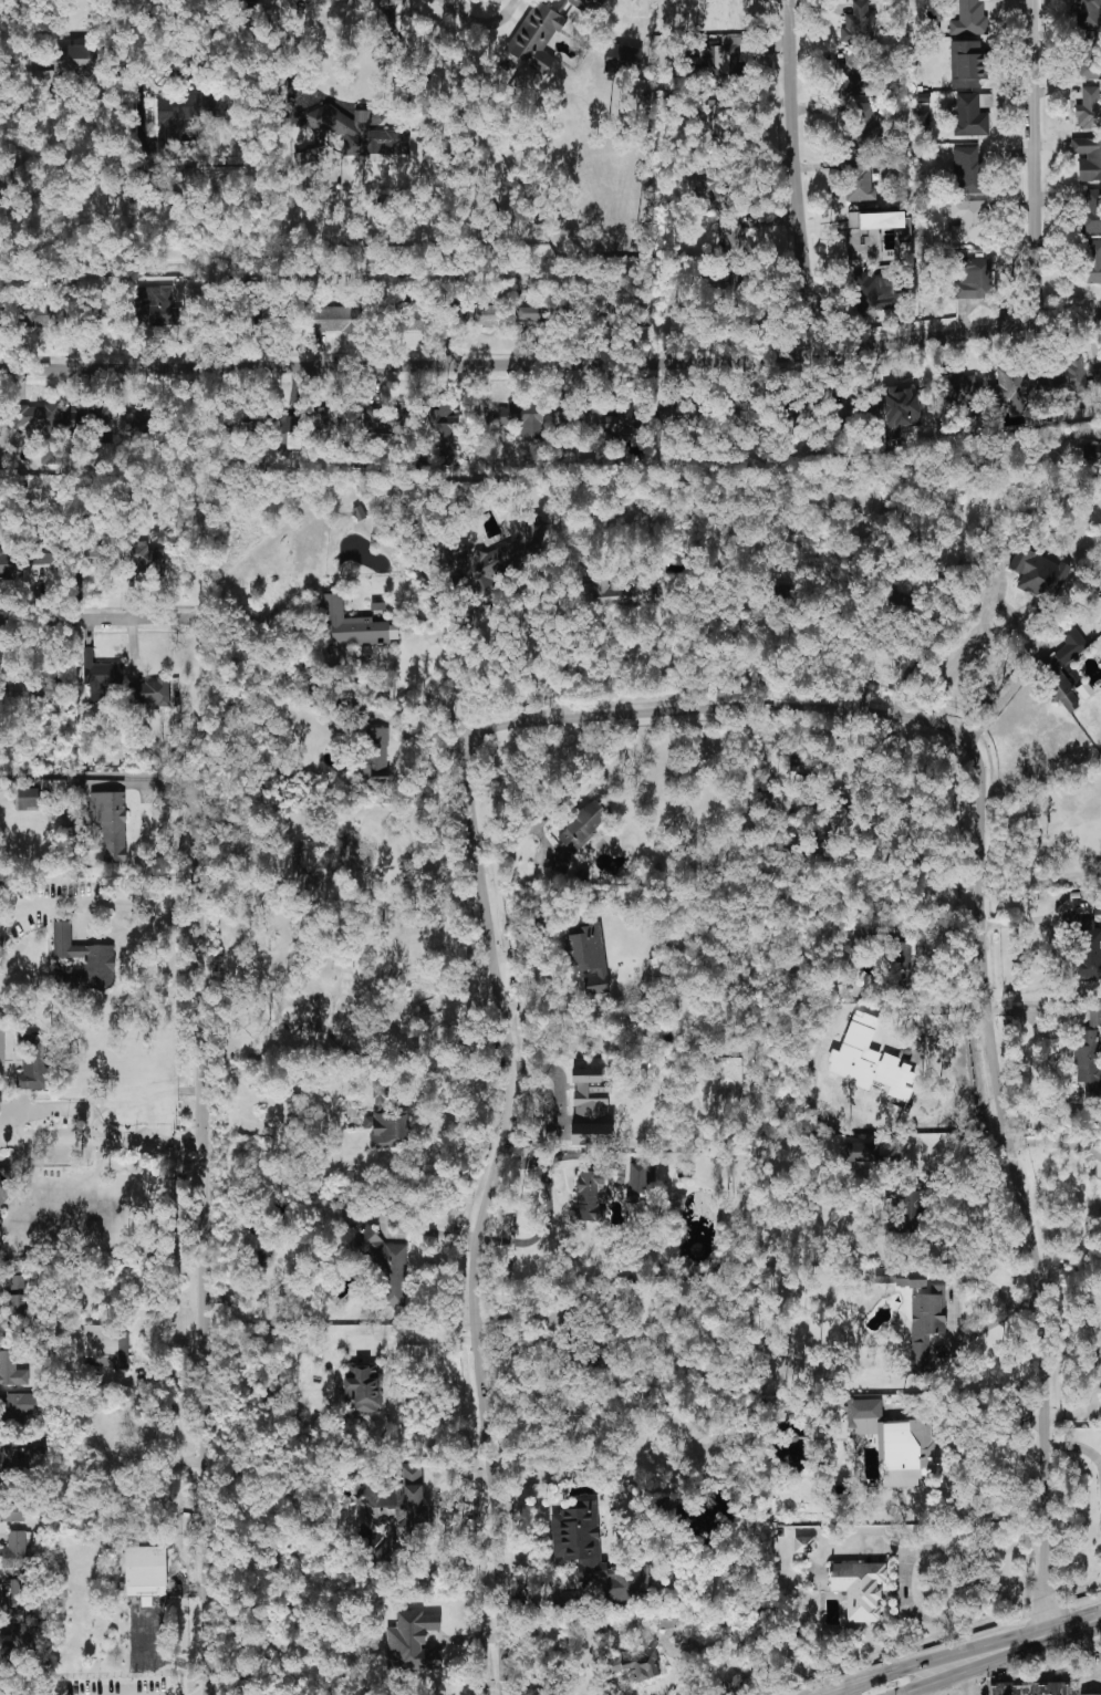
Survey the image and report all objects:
road: (363, 3)
building: (586, 4)
building: (715, 9)
building: (1088, 13)
road: (481, 19)
building: (969, 19)
building: (858, 24)
building: (536, 38)
building: (1090, 55)
building: (622, 59)
building: (77, 60)
building: (966, 64)
road: (420, 66)
building: (850, 73)
building: (1089, 110)
building: (973, 114)
building: (923, 123)
building: (866, 125)
building: (361, 134)
building: (309, 156)
building: (1088, 158)
road: (1036, 162)
building: (969, 171)
road: (798, 176)
building: (859, 180)
building: (713, 184)
building: (1091, 211)
building: (969, 220)
building: (876, 235)
building: (736, 239)
building: (1093, 261)
building: (972, 279)
building: (874, 292)
building: (93, 310)
building: (0, 311)
building: (160, 311)
building: (486, 313)
building: (532, 313)
building: (644, 313)
building: (39, 315)
building: (617, 315)
building: (420, 318)
building: (339, 319)
building: (274, 320)
road: (551, 363)
building: (1097, 375)
building: (1064, 376)
building: (1011, 387)
building: (962, 393)
building: (901, 406)
building: (678, 417)
building: (87, 418)
building: (523, 419)
building: (373, 420)
building: (398, 420)
building: (564, 420)
building: (590, 420)
building: (625, 420)
building: (134, 422)
building: (0, 424)
building: (330, 425)
building: (41, 428)
building: (442, 428)
building: (287, 431)
building: (1091, 453)
building: (50, 557)
building: (145, 559)
building: (10, 562)
building: (1039, 575)
building: (627, 594)
road: (96, 620)
building: (352, 624)
road: (957, 665)
building: (100, 674)
building: (1057, 674)
road: (354, 689)
building: (1084, 690)
building: (152, 694)
road: (1006, 695)
road: (695, 711)
building: (376, 755)
road: (98, 776)
road: (106, 784)
building: (29, 799)
building: (111, 824)
road: (527, 831)
building: (579, 834)
building: (1097, 907)
building: (1089, 950)
building: (84, 952)
building: (903, 956)
building: (586, 957)
building: (658, 968)
road: (116, 970)
building: (1094, 1018)
road: (911, 1036)
building: (870, 1061)
building: (34, 1063)
building: (1089, 1063)
road: (461, 1086)
building: (381, 1095)
building: (294, 1102)
building: (592, 1106)
road: (95, 1117)
road: (8, 1130)
building: (388, 1130)
building: (861, 1152)
road: (553, 1166)
building: (640, 1182)
building: (3, 1186)
building: (591, 1196)
building: (911, 1208)
road: (541, 1230)
building: (0, 1233)
road: (205, 1233)
road: (433, 1233)
building: (387, 1266)
building: (901, 1278)
building: (17, 1296)
building: (609, 1314)
building: (926, 1325)
building: (263, 1338)
road: (417, 1340)
building: (106, 1346)
building: (600, 1360)
building: (11, 1370)
building: (364, 1389)
building: (24, 1405)
building: (897, 1444)
road: (1077, 1447)
building: (21, 1454)
building: (396, 1506)
building: (12, 1507)
building: (804, 1545)
building: (17, 1547)
road: (891, 1548)
road: (923, 1549)
building: (595, 1554)
building: (145, 1571)
building: (860, 1589)
building: (15, 1605)
building: (669, 1619)
road: (1074, 1628)
building: (594, 1636)
building: (17, 1637)
building: (412, 1642)
road: (591, 1656)
road: (934, 1661)
building: (636, 1664)
road: (976, 1668)
road: (966, 1684)
building: (733, 1685)
road: (185, 1686)
building: (1029, 1689)
road: (925, 1691)
building: (1089, 1694)

